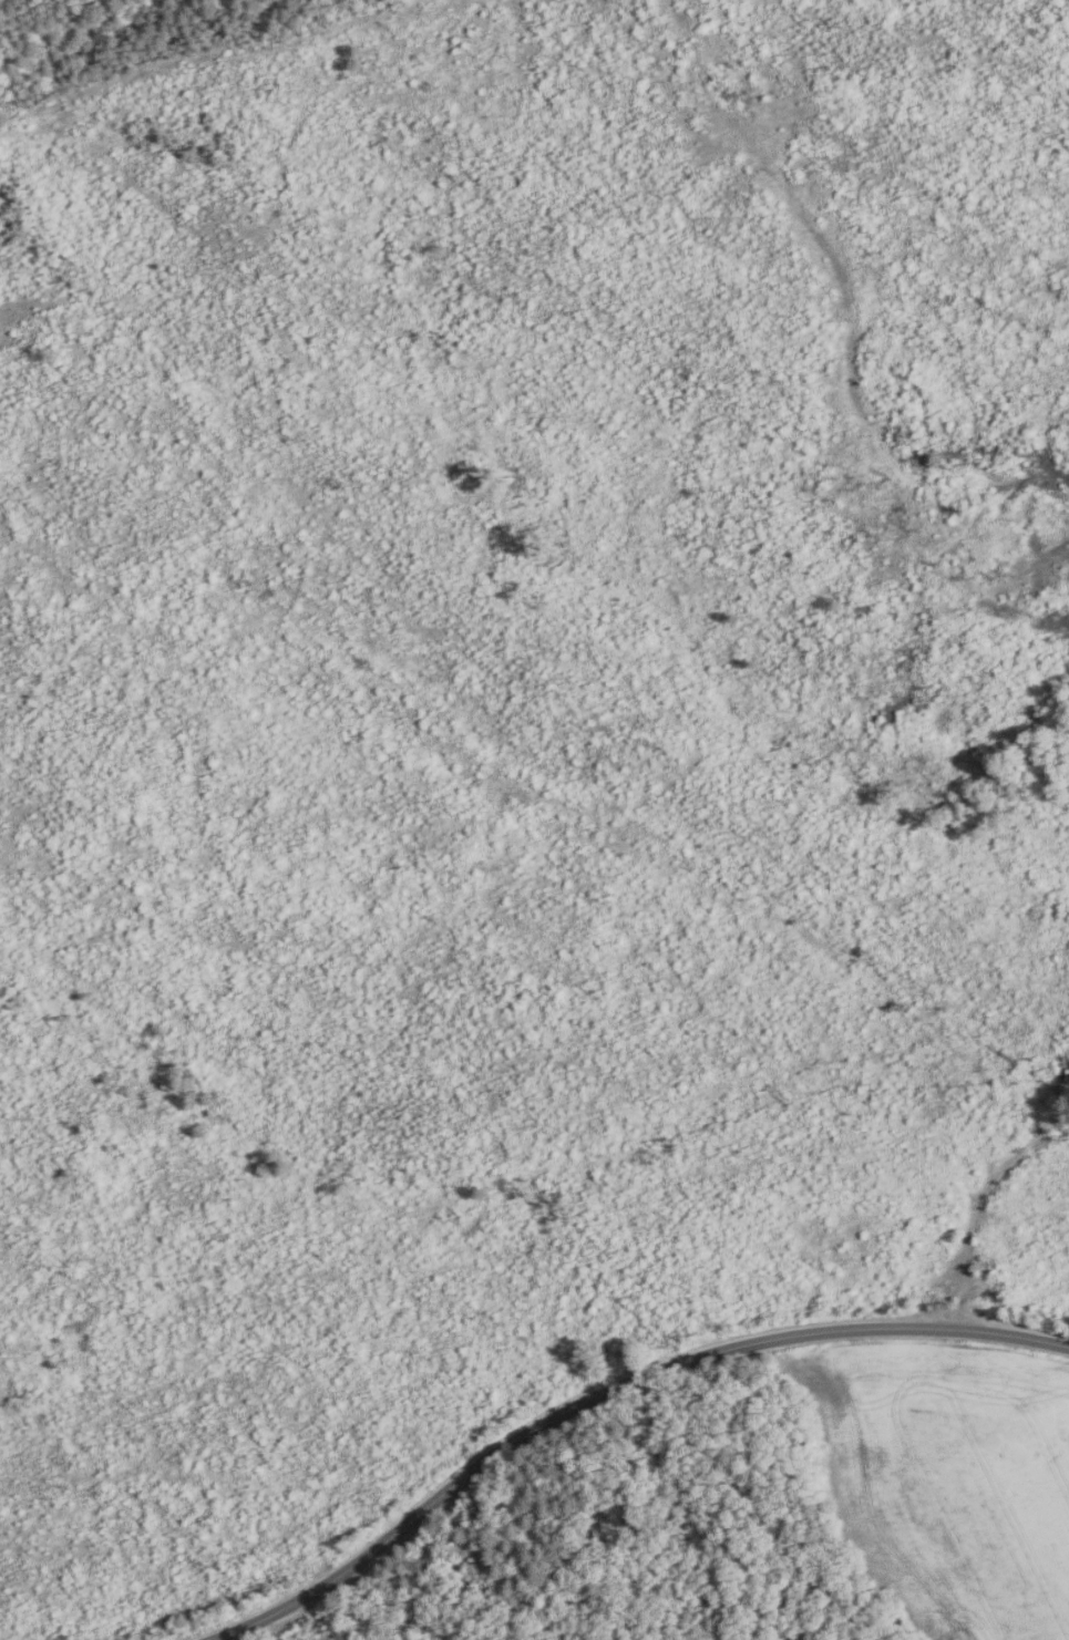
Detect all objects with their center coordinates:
road: (984, 1200)
road: (607, 1391)

